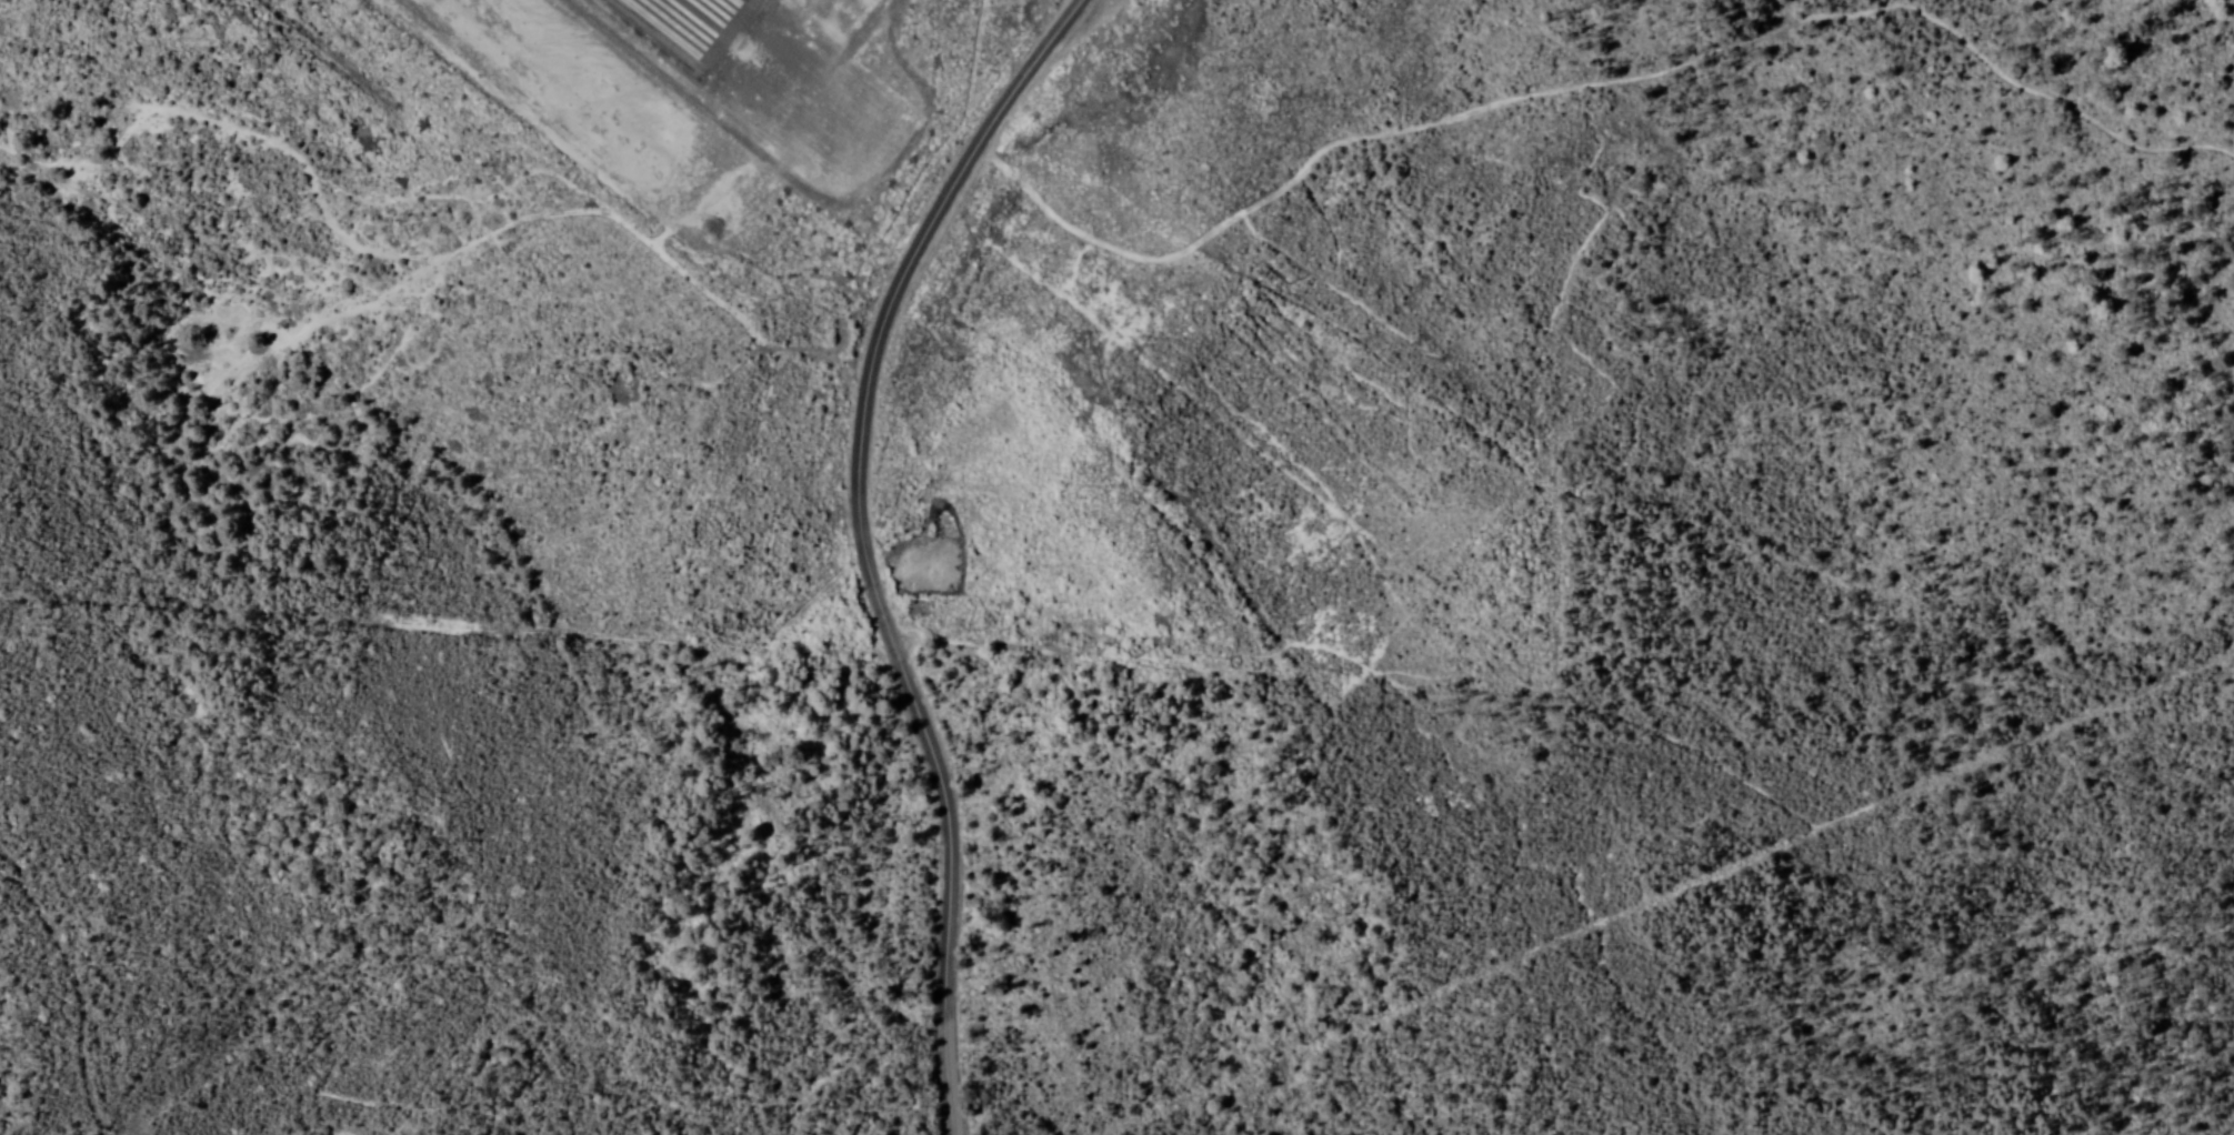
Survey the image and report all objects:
airport runway: (688, 13)
airport taxiway: (720, 13)
airport: (559, 221)
road: (861, 544)

